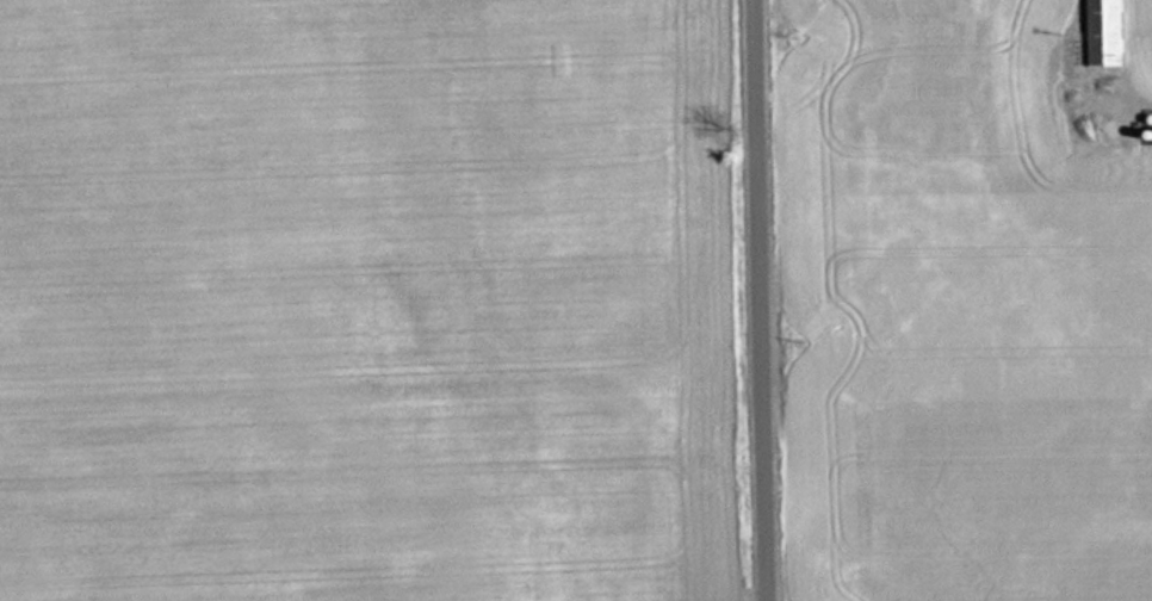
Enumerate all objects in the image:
building: (1102, 52)
road: (764, 300)

